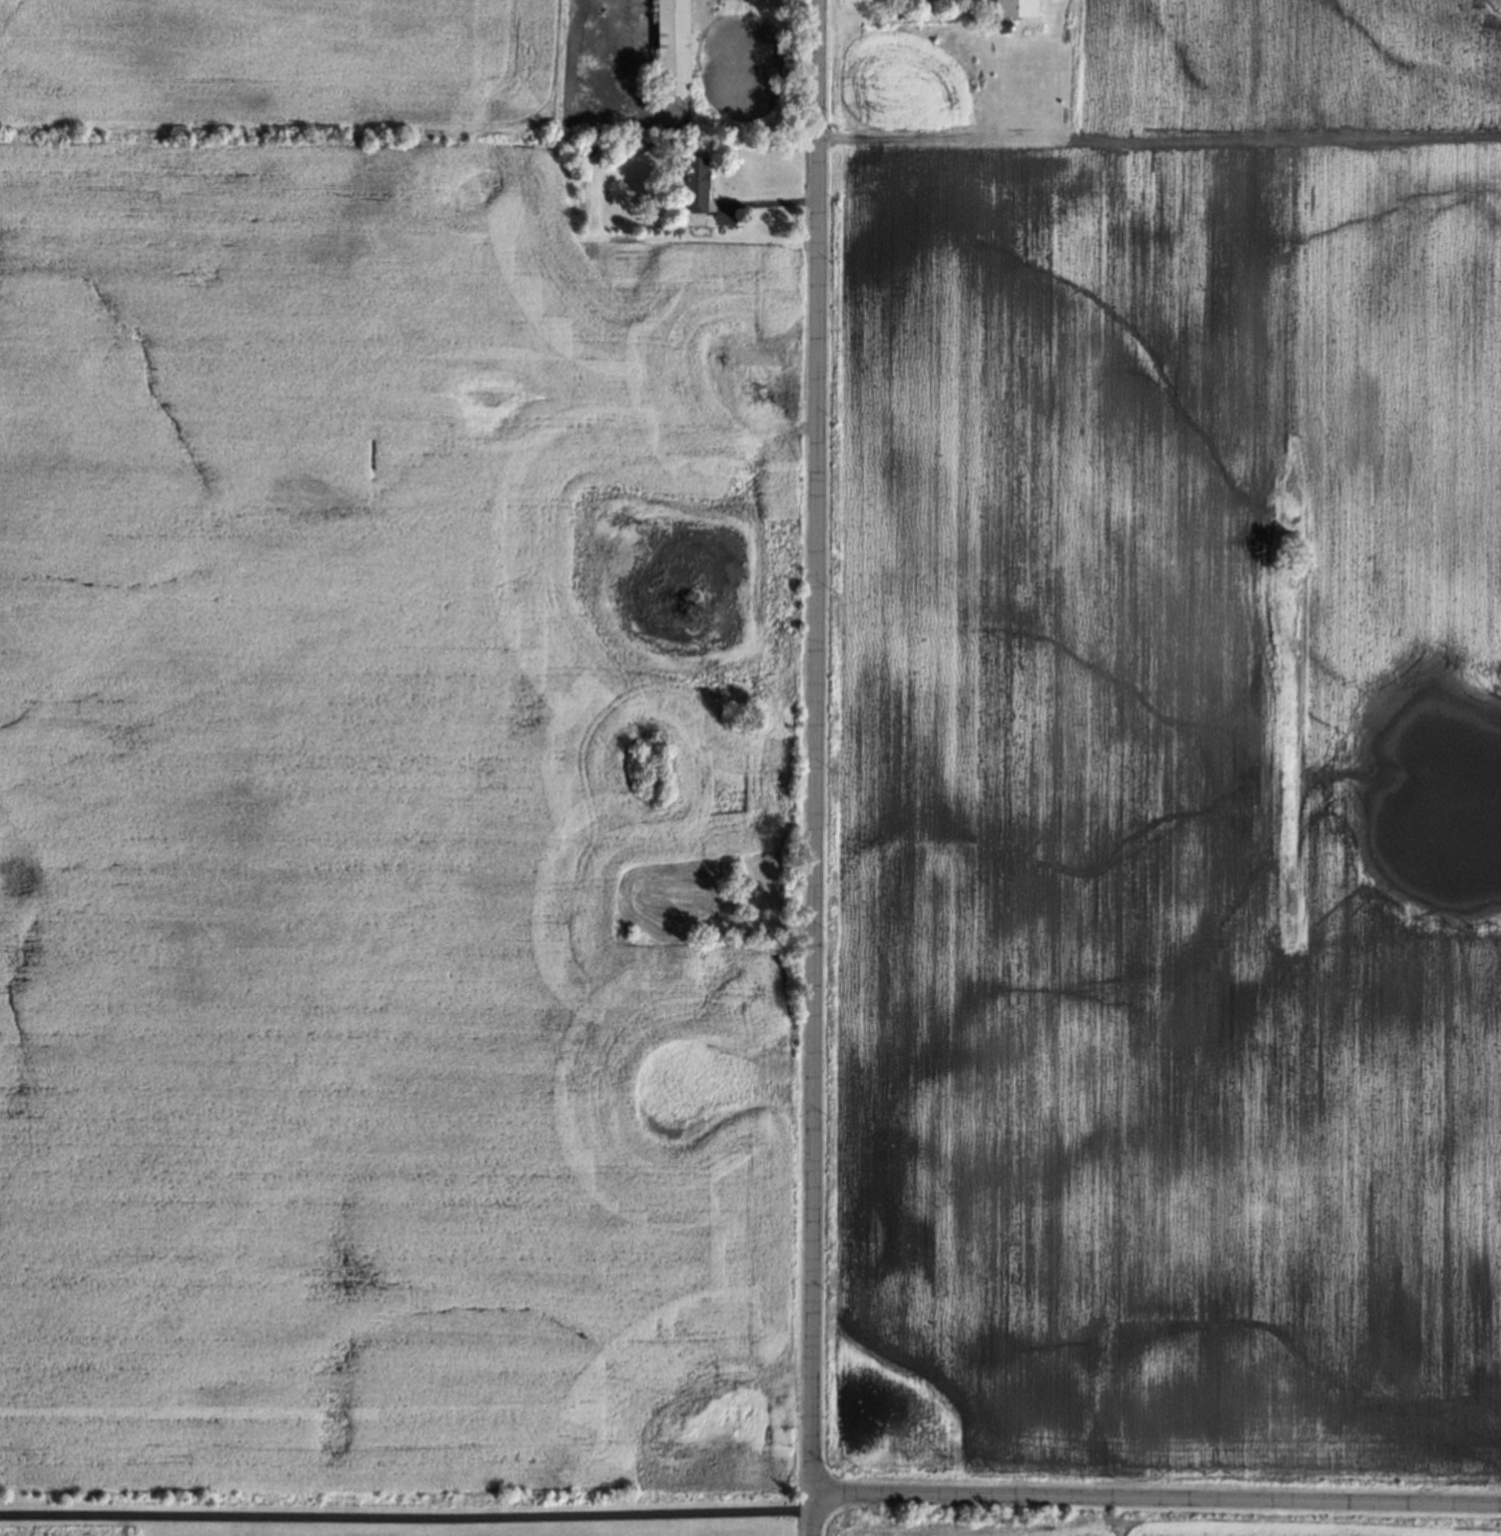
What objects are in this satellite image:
road: (697, 1)
building: (1013, 9)
building: (1005, 29)
building: (671, 49)
building: (694, 185)
road: (812, 767)
road: (1155, 1500)
road: (405, 1514)

